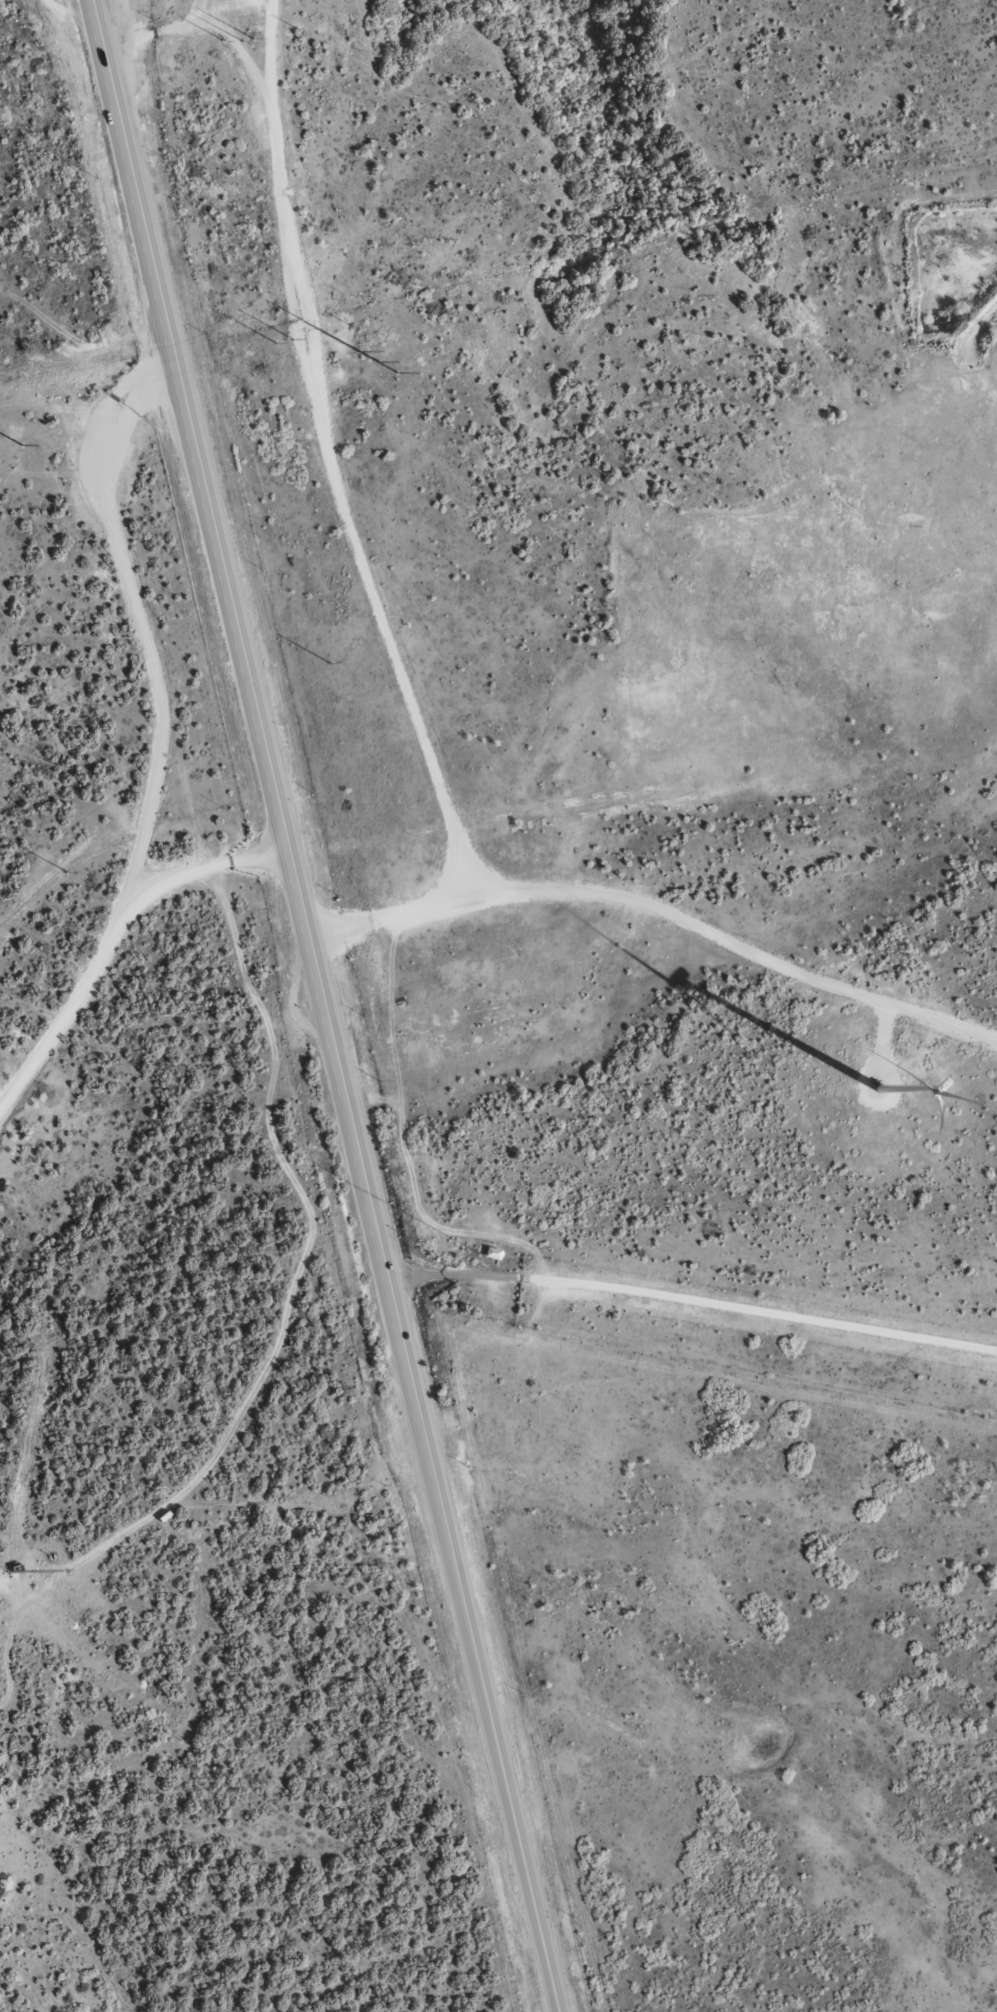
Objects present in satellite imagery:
power tower: (245, 38)
power tower: (223, 40)
power tower: (292, 339)
power tower: (274, 342)
power tower: (377, 361)
road: (90, 435)
power tower: (20, 445)
road: (330, 458)
power tower: (327, 661)
road: (149, 786)
power tower: (68, 871)
road: (661, 909)
road: (324, 1006)
wind turbine: (890, 1084)
road: (693, 1298)

